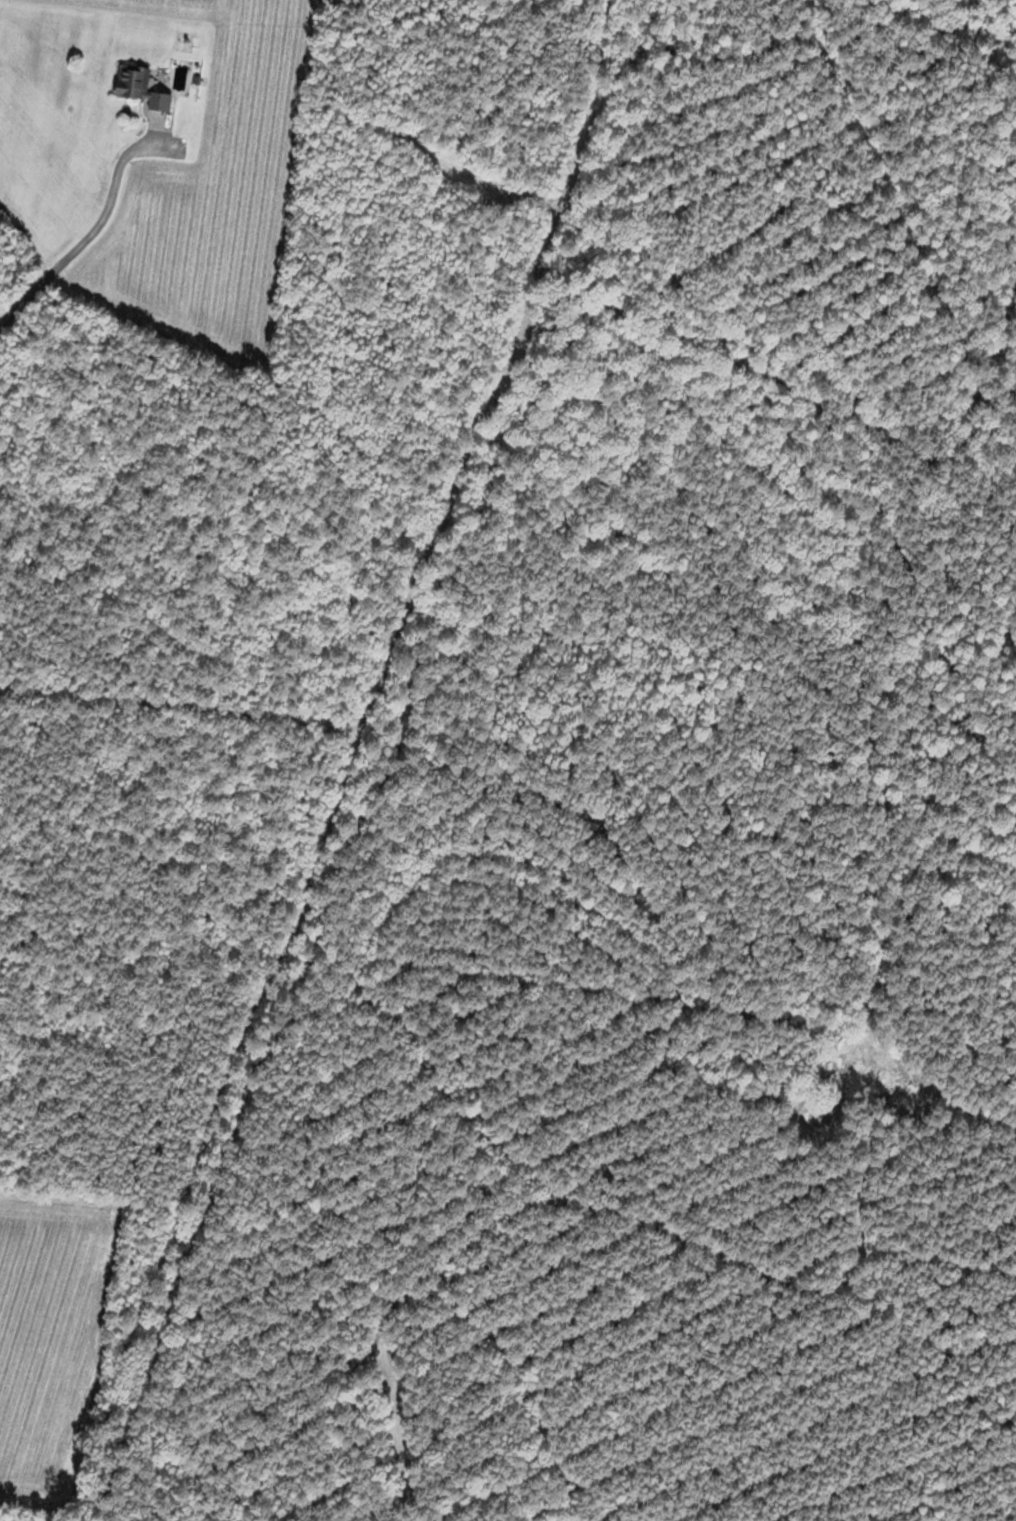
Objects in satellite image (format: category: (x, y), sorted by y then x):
building: (139, 88)

